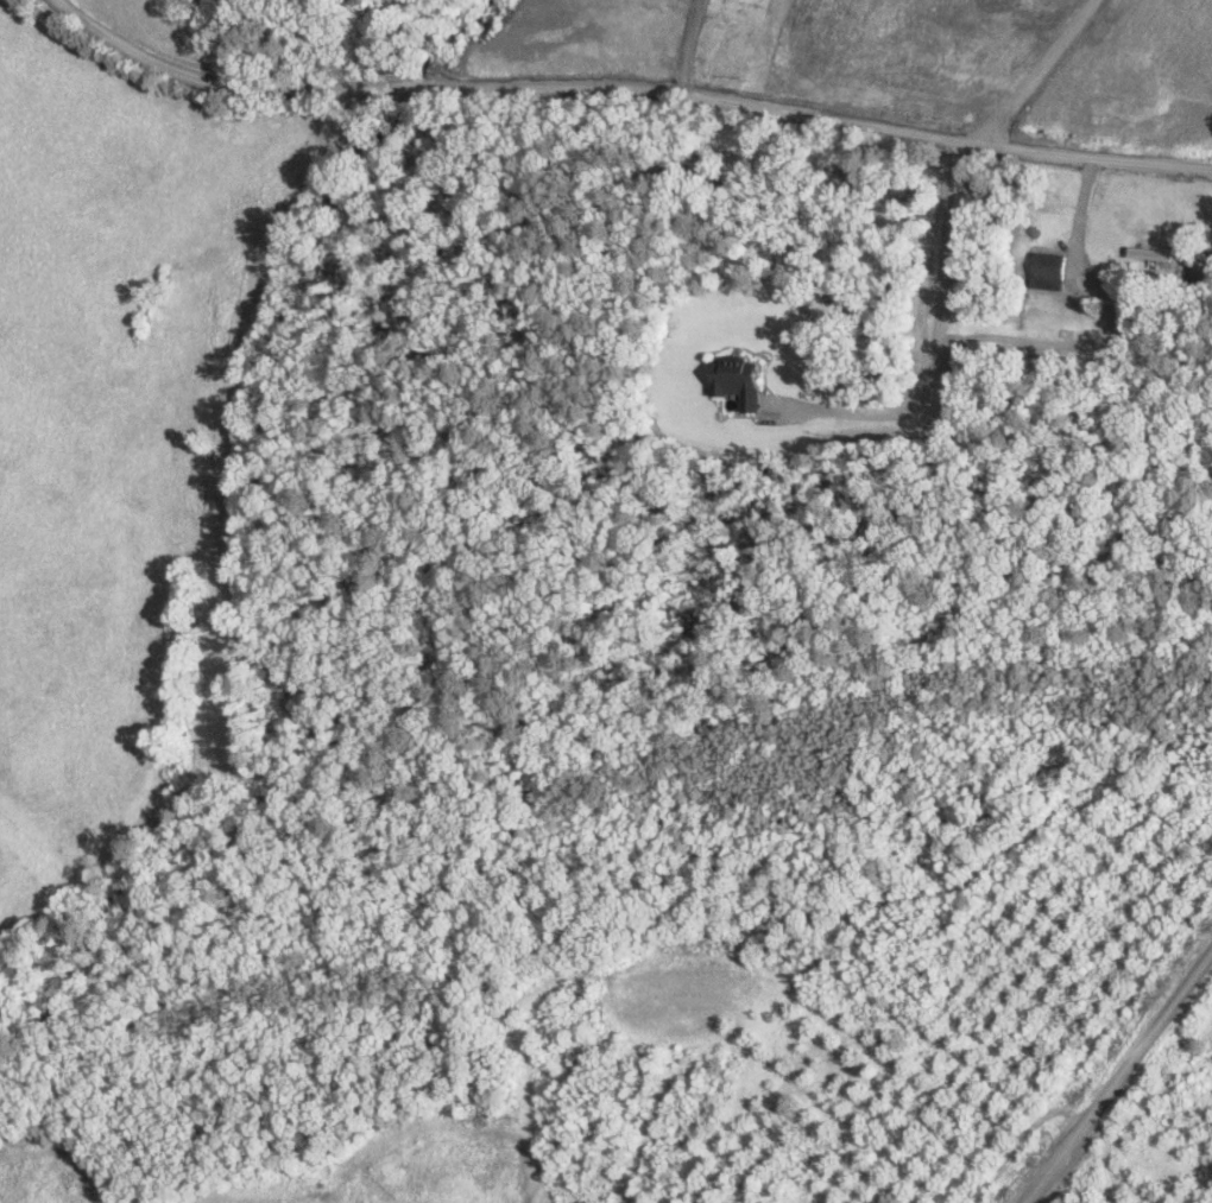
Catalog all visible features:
road: (648, 88)
road: (31, 126)
building: (1149, 253)
building: (1047, 270)
building: (739, 380)
road: (1132, 1096)

